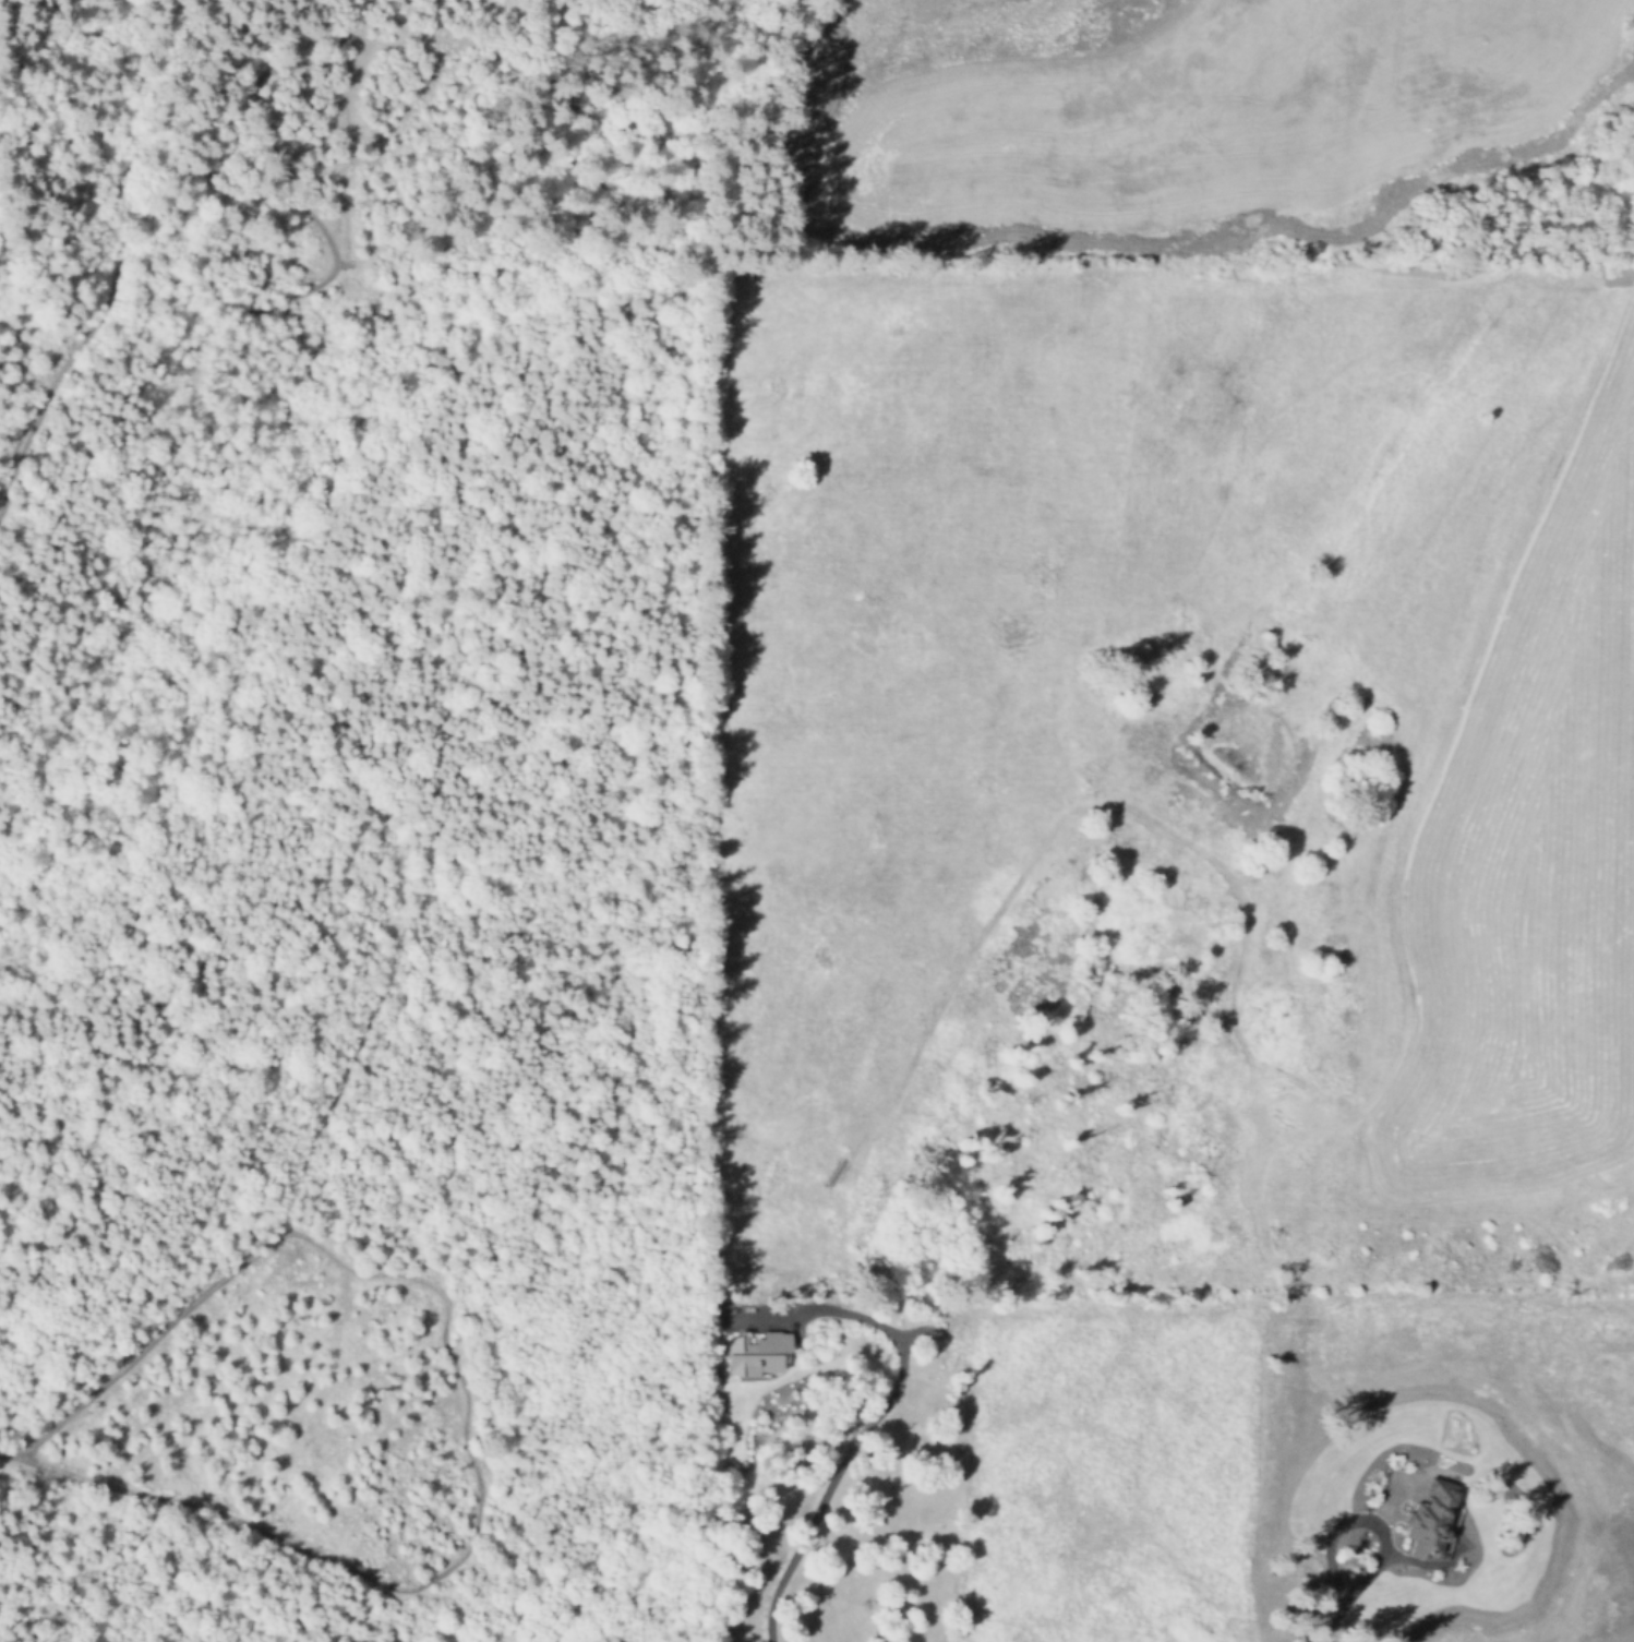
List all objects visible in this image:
crop: (1194, 103)
road: (299, 202)
road: (157, 256)
road: (57, 377)
building: (756, 1352)
road: (467, 1402)
road: (854, 1439)
road: (7, 1453)
road: (1363, 1517)
building: (1432, 1518)
road: (1326, 1620)

